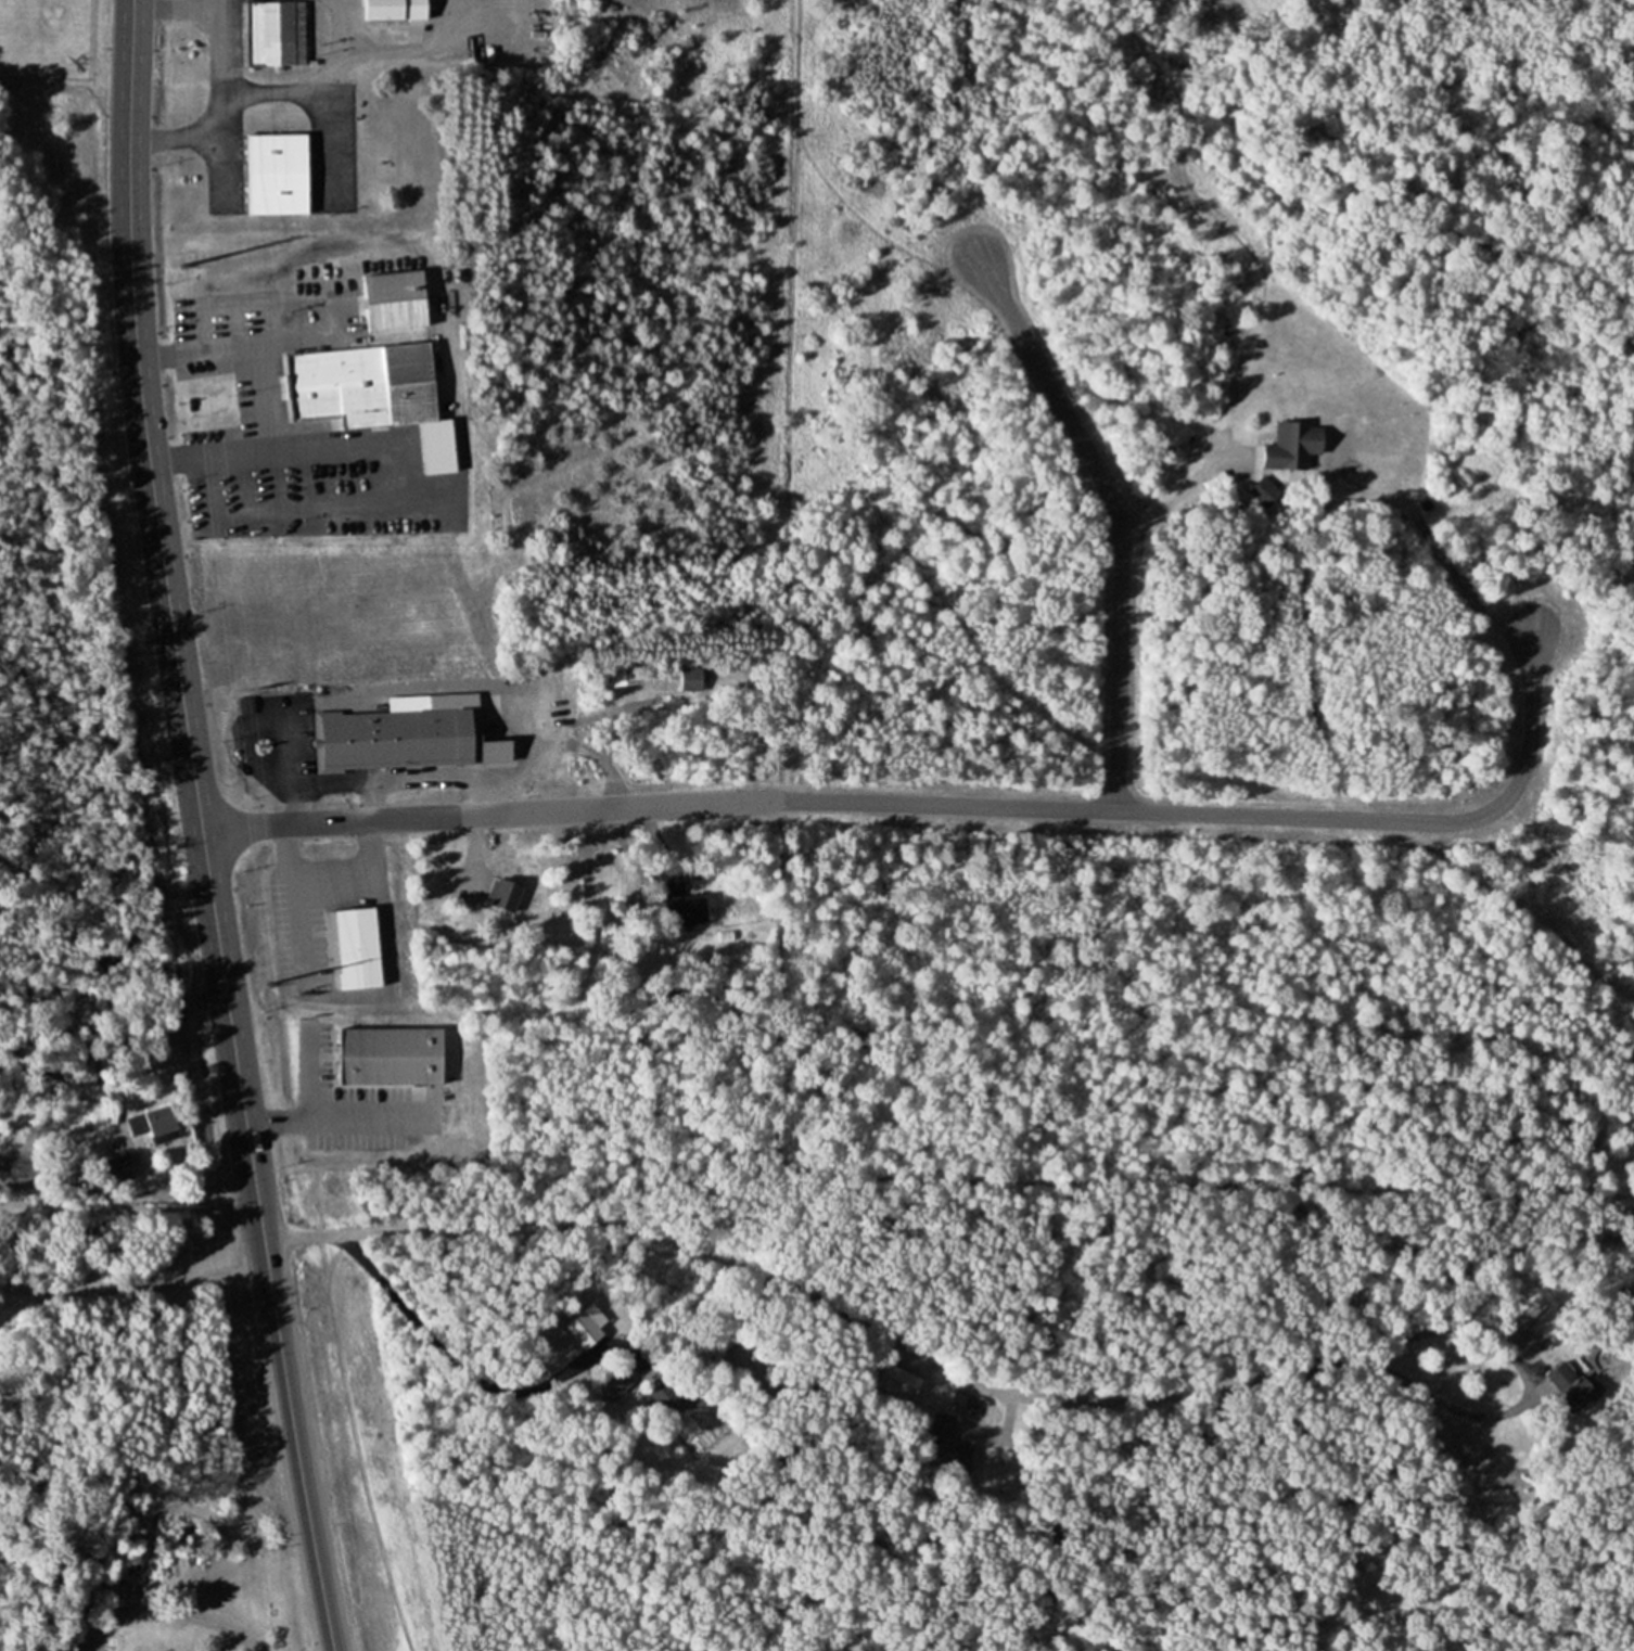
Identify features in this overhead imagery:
building: (395, 10)
building: (275, 34)
building: (277, 175)
power tower: (176, 263)
building: (330, 383)
building: (409, 384)
building: (1294, 447)
road: (1170, 498)
road: (1116, 516)
building: (620, 676)
building: (394, 740)
road: (945, 805)
road: (200, 828)
building: (505, 895)
building: (684, 909)
building: (358, 947)
power tower: (266, 984)
building: (391, 1055)
building: (152, 1122)
building: (115, 1168)
road: (154, 1287)
road: (796, 1294)
building: (584, 1329)
road: (426, 1335)
building: (1563, 1378)
building: (897, 1381)
building: (613, 1383)
building: (944, 1445)

